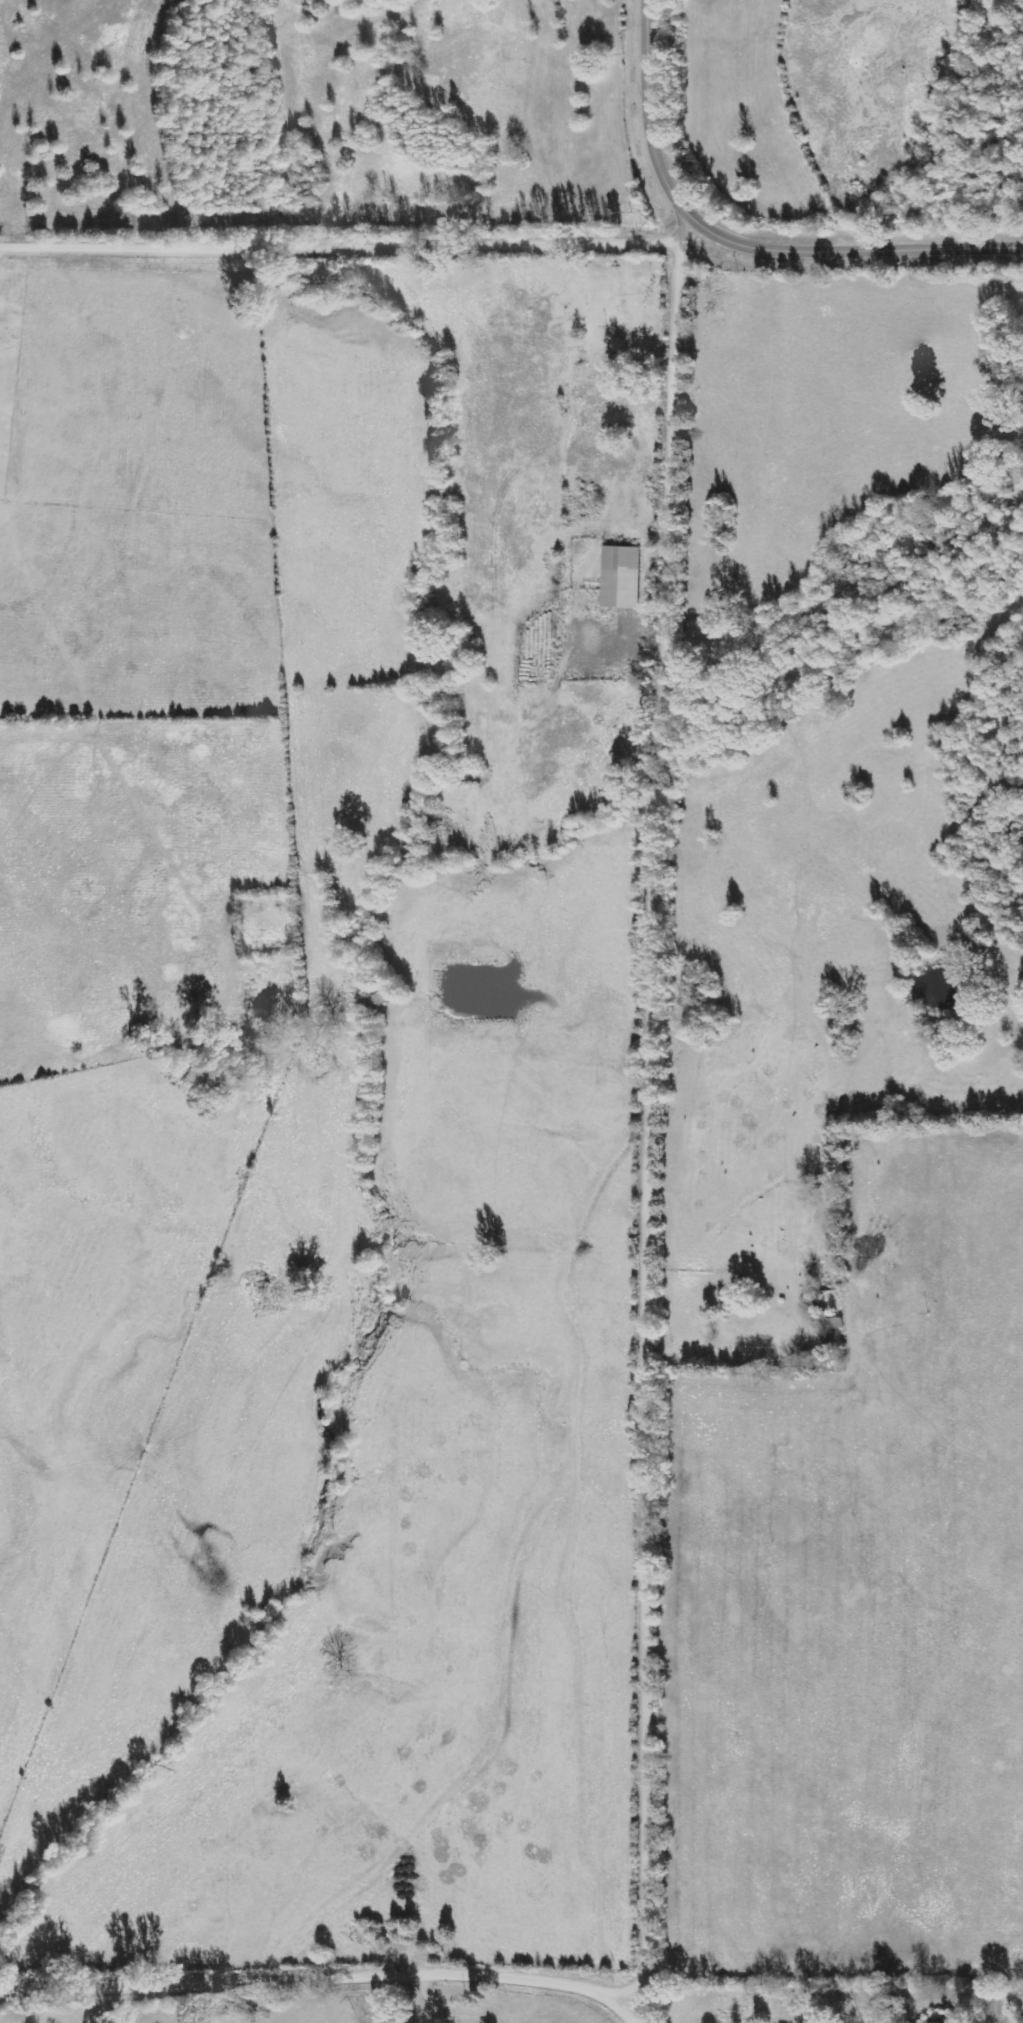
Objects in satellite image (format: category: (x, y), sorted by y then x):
road: (678, 226)
road: (738, 243)
road: (337, 251)
building: (620, 577)
road: (654, 1131)
road: (326, 1979)

